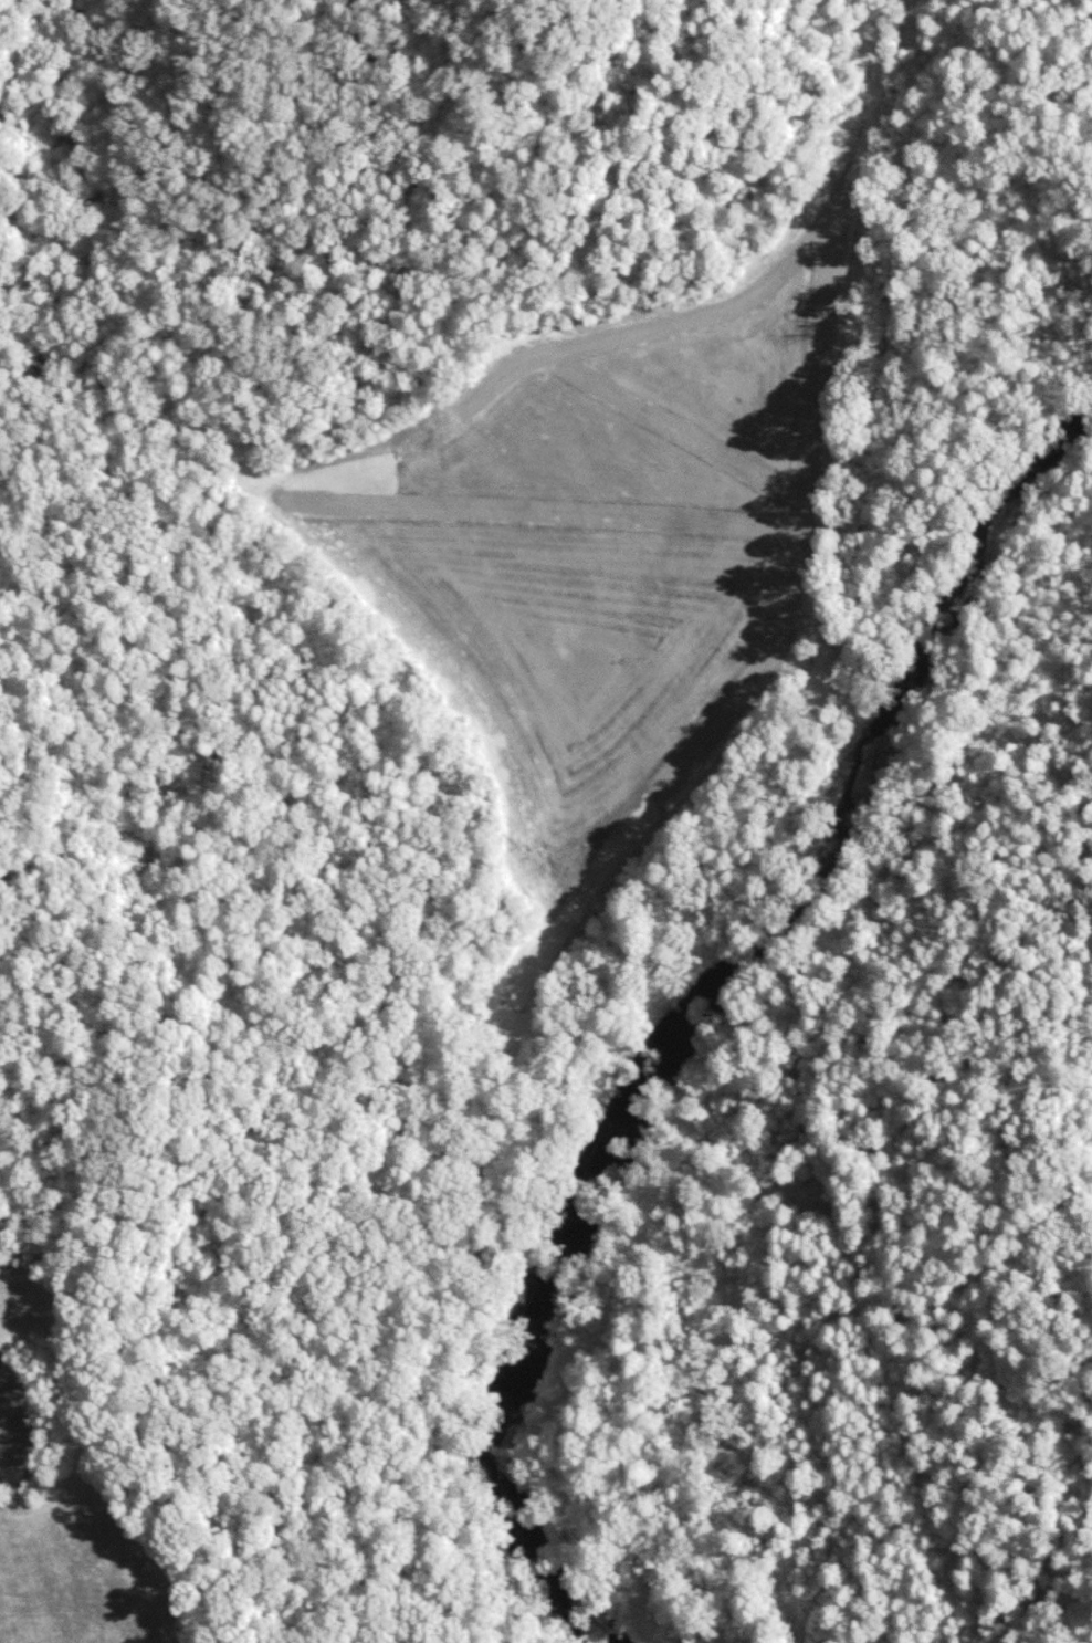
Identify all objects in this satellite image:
river: (710, 1021)

